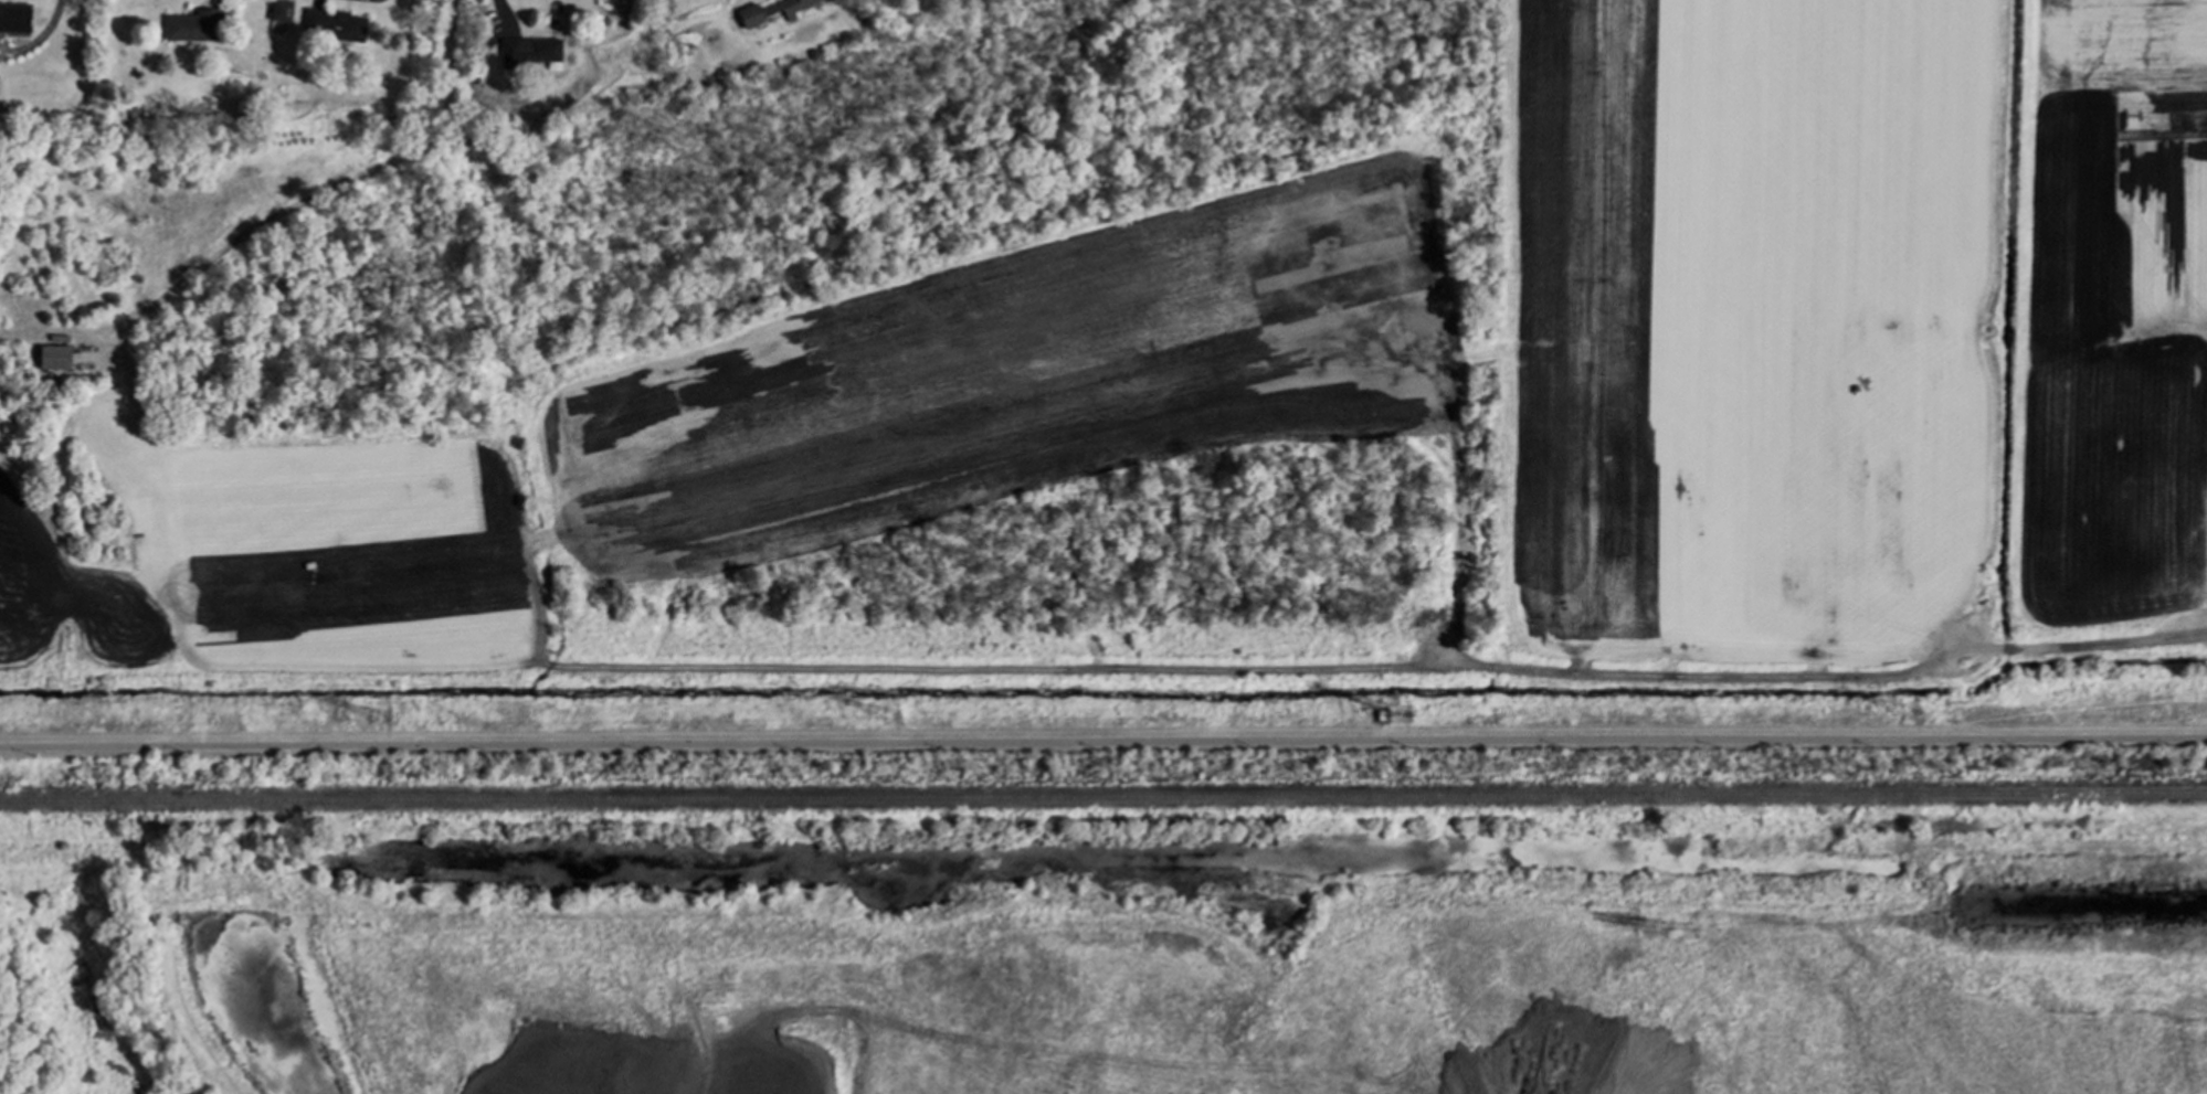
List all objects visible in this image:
building: (282, 10)
building: (771, 10)
building: (14, 17)
building: (191, 25)
building: (331, 28)
building: (529, 51)
building: (54, 357)
crop: (1386, 372)
road: (1563, 666)
power tower: (1913, 714)
power tower: (895, 716)
power tower: (1402, 716)
power tower: (386, 722)
road: (1102, 742)
railway: (1102, 800)

